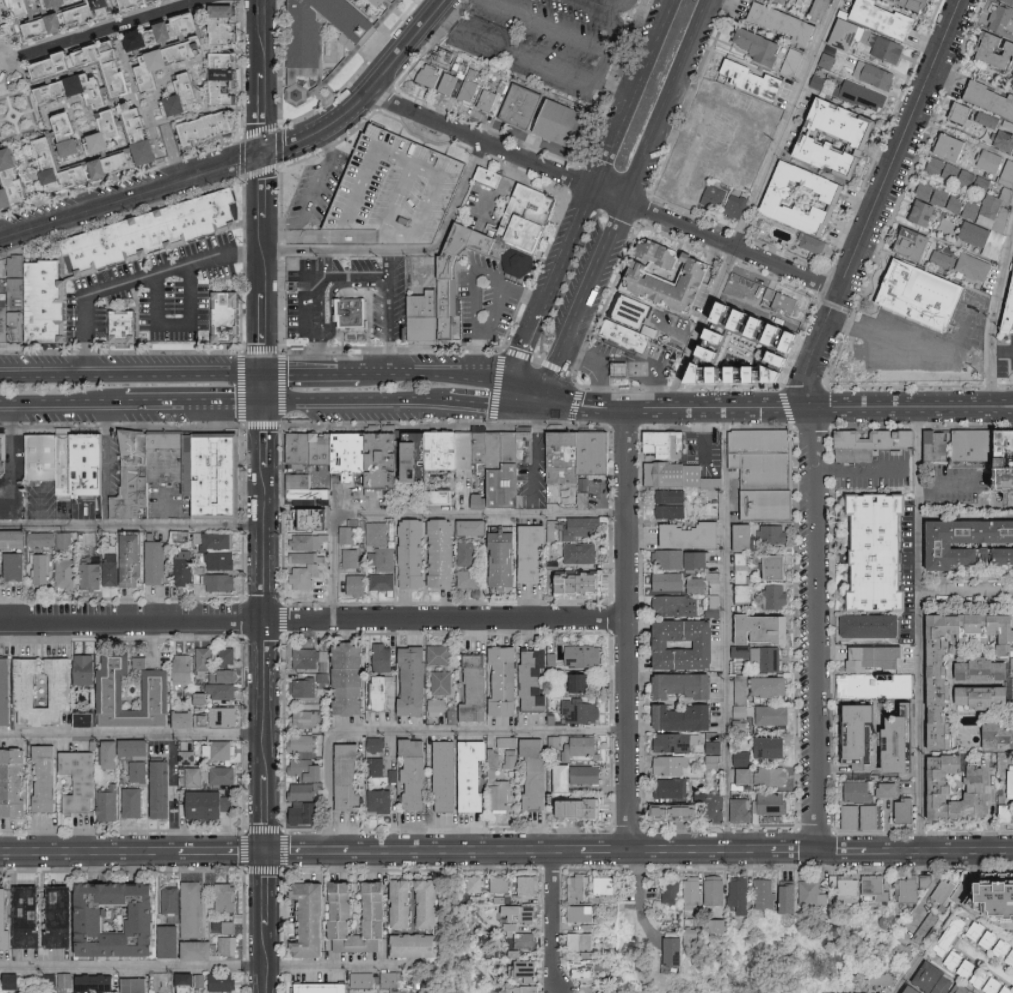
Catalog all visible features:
building: (63, 1)
building: (380, 1)
building: (773, 1)
building: (1008, 1)
building: (137, 2)
road: (611, 4)
building: (900, 4)
building: (28, 6)
road: (272, 7)
building: (94, 10)
building: (874, 17)
building: (64, 20)
building: (774, 21)
building: (999, 21)
building: (226, 23)
building: (185, 24)
building: (44, 26)
road: (113, 28)
building: (323, 28)
building: (838, 33)
road: (568, 34)
building: (149, 36)
road: (524, 36)
parking lot: (542, 43)
building: (748, 44)
building: (988, 49)
building: (884, 50)
road: (11, 59)
building: (168, 60)
building: (786, 61)
building: (113, 62)
building: (59, 63)
road: (559, 72)
building: (429, 74)
building: (1009, 75)
building: (226, 77)
building: (449, 83)
building: (470, 87)
building: (80, 89)
road: (367, 92)
building: (185, 93)
building: (488, 100)
building: (986, 100)
building: (524, 105)
building: (567, 122)
building: (210, 126)
building: (113, 130)
building: (75, 134)
building: (148, 135)
road: (428, 135)
building: (822, 136)
road: (25, 145)
building: (942, 147)
road: (611, 152)
building: (985, 160)
building: (118, 163)
building: (66, 167)
building: (1, 174)
building: (487, 177)
building: (18, 180)
parking lot: (312, 184)
building: (963, 186)
building: (1012, 188)
building: (389, 191)
road: (603, 191)
road: (133, 194)
road: (628, 195)
building: (768, 195)
road: (319, 196)
building: (715, 196)
building: (935, 196)
road: (877, 202)
road: (266, 203)
road: (753, 204)
building: (735, 206)
building: (967, 210)
building: (916, 213)
building: (525, 218)
building: (149, 232)
building: (969, 234)
building: (807, 243)
building: (902, 243)
road: (410, 249)
building: (660, 251)
building: (516, 264)
building: (957, 264)
road: (388, 265)
building: (302, 272)
parking lot: (576, 275)
road: (354, 277)
road: (138, 278)
building: (447, 281)
building: (676, 282)
road: (472, 284)
road: (315, 287)
road: (332, 290)
building: (910, 294)
road: (526, 296)
building: (15, 302)
road: (569, 302)
building: (1004, 302)
building: (425, 303)
building: (46, 305)
building: (785, 309)
building: (736, 310)
road: (494, 315)
building: (349, 317)
building: (749, 317)
building: (636, 318)
building: (226, 319)
road: (177, 323)
road: (995, 323)
building: (1009, 323)
building: (767, 324)
building: (125, 327)
road: (388, 328)
building: (784, 331)
park: (544, 338)
building: (806, 338)
building: (628, 341)
road: (529, 343)
building: (715, 347)
road: (316, 348)
road: (1003, 352)
road: (474, 355)
road: (599, 364)
road: (641, 364)
building: (787, 365)
building: (622, 368)
road: (133, 373)
traffic signals: (266, 373)
road: (302, 373)
road: (349, 373)
road: (418, 373)
building: (746, 373)
building: (620, 375)
road: (495, 379)
traffic signals: (515, 384)
road: (532, 388)
traffic signals: (550, 392)
road: (513, 396)
road: (564, 399)
road: (548, 401)
road: (1012, 403)
road: (355, 404)
road: (836, 404)
road: (1012, 404)
road: (589, 406)
road: (614, 406)
traffic signals: (628, 406)
road: (640, 406)
road: (657, 406)
traffic signals: (265, 407)
road: (190, 408)
road: (58, 409)
road: (477, 409)
traffic signals: (511, 409)
road: (524, 409)
road: (562, 409)
road: (541, 411)
traffic signals: (546, 411)
building: (670, 444)
building: (874, 444)
building: (927, 445)
building: (938, 450)
building: (976, 450)
building: (303, 451)
building: (440, 451)
building: (42, 453)
building: (348, 453)
building: (578, 453)
building: (4, 454)
building: (168, 456)
road: (11, 457)
building: (88, 458)
building: (413, 458)
building: (383, 460)
building: (494, 462)
road: (536, 463)
building: (65, 465)
road: (265, 467)
building: (216, 468)
road: (859, 468)
building: (766, 471)
building: (133, 473)
building: (686, 476)
building: (300, 480)
road: (949, 488)
building: (441, 496)
building: (311, 497)
building: (671, 503)
road: (433, 515)
building: (475, 526)
road: (133, 527)
building: (350, 532)
building: (379, 533)
building: (775, 534)
building: (694, 535)
building: (182, 536)
building: (748, 536)
building: (15, 538)
building: (43, 538)
building: (214, 539)
building: (66, 540)
building: (307, 541)
building: (553, 541)
building: (865, 551)
building: (415, 552)
building: (445, 552)
building: (582, 552)
building: (468, 553)
building: (136, 558)
building: (352, 558)
building: (507, 558)
building: (670, 558)
building: (222, 559)
building: (387, 559)
building: (699, 559)
building: (159, 561)
building: (18, 566)
building: (781, 566)
building: (189, 568)
building: (744, 568)
building: (44, 569)
building: (306, 569)
building: (102, 572)
building: (68, 573)
building: (714, 576)
building: (469, 578)
building: (384, 580)
building: (221, 581)
building: (670, 581)
building: (587, 583)
building: (358, 584)
building: (698, 585)
road: (967, 592)
building: (748, 593)
building: (777, 595)
building: (677, 605)
building: (715, 606)
road: (264, 611)
road: (313, 619)
building: (862, 625)
road: (817, 626)
road: (922, 626)
road: (628, 627)
road: (727, 627)
building: (768, 628)
building: (687, 644)
building: (742, 650)
building: (441, 654)
building: (585, 655)
building: (227, 656)
building: (384, 657)
building: (881, 657)
building: (312, 658)
building: (854, 658)
building: (206, 659)
building: (769, 659)
building: (185, 668)
building: (973, 668)
building: (86, 669)
building: (228, 675)
building: (352, 677)
building: (324, 678)
building: (537, 678)
building: (415, 680)
building: (507, 680)
building: (443, 682)
building: (583, 682)
building: (686, 684)
building: (850, 684)
building: (773, 685)
building: (304, 687)
building: (478, 688)
building: (28, 690)
building: (223, 690)
building: (7, 691)
building: (159, 691)
building: (382, 691)
building: (203, 696)
building: (972, 696)
building: (743, 703)
building: (438, 706)
building: (583, 712)
building: (775, 715)
building: (225, 716)
building: (686, 717)
building: (308, 718)
building: (87, 719)
building: (186, 719)
road: (423, 729)
building: (843, 729)
building: (994, 733)
road: (132, 734)
building: (962, 735)
building: (509, 741)
building: (677, 741)
building: (556, 742)
building: (377, 743)
building: (880, 744)
building: (775, 746)
building: (138, 747)
building: (582, 747)
building: (220, 749)
building: (113, 753)
building: (714, 754)
building: (188, 757)
building: (307, 758)
building: (512, 758)
building: (743, 758)
building: (672, 764)
building: (377, 766)
building: (937, 767)
building: (140, 770)
building: (539, 772)
road: (265, 773)
building: (418, 773)
building: (475, 774)
building: (225, 775)
building: (449, 775)
building: (767, 775)
building: (196, 776)
building: (578, 776)
building: (48, 777)
building: (350, 778)
building: (83, 780)
building: (1011, 782)
building: (15, 783)
building: (500, 786)
building: (673, 787)
building: (164, 788)
building: (884, 789)
building: (304, 791)
building: (852, 791)
building: (930, 796)
building: (381, 800)
building: (135, 802)
building: (110, 803)
building: (773, 803)
building: (210, 804)
building: (715, 804)
building: (585, 808)
building: (742, 809)
building: (897, 810)
building: (682, 811)
building: (307, 812)
building: (1007, 814)
building: (854, 817)
traffic signals: (265, 849)
road: (638, 849)
road: (132, 850)
building: (476, 883)
building: (503, 883)
building: (1000, 884)
building: (531, 885)
building: (606, 885)
building: (869, 887)
building: (579, 888)
road: (642, 889)
building: (717, 889)
building: (841, 889)
building: (902, 890)
building: (674, 891)
building: (695, 891)
building: (743, 894)
building: (769, 894)
building: (810, 894)
building: (228, 897)
building: (794, 899)
building: (978, 899)
building: (172, 903)
building: (345, 907)
building: (433, 908)
building: (193, 909)
building: (584, 913)
building: (65, 916)
building: (522, 916)
building: (32, 917)
building: (314, 918)
building: (6, 920)
building: (128, 921)
road: (266, 921)
road: (555, 921)
building: (590, 926)
building: (723, 926)
building: (944, 936)
building: (228, 937)
building: (696, 937)
building: (529, 940)
building: (584, 940)
building: (1012, 944)
building: (419, 945)
building: (678, 949)
building: (199, 950)
building: (1008, 957)
road: (214, 965)
park: (760, 966)
building: (527, 967)
building: (587, 967)
building: (0, 975)
road: (906, 977)
building: (877, 978)
building: (364, 979)
building: (393, 979)
building: (926, 979)
building: (67, 980)
building: (15, 981)
building: (224, 981)
building: (192, 982)
building: (97, 983)
building: (983, 983)
building: (137, 985)
building: (324, 987)
building: (530, 989)
building: (901, 989)
building: (954, 989)
building: (401, 991)
building: (609, 992)
building: (830, 992)
building: (856, 992)

